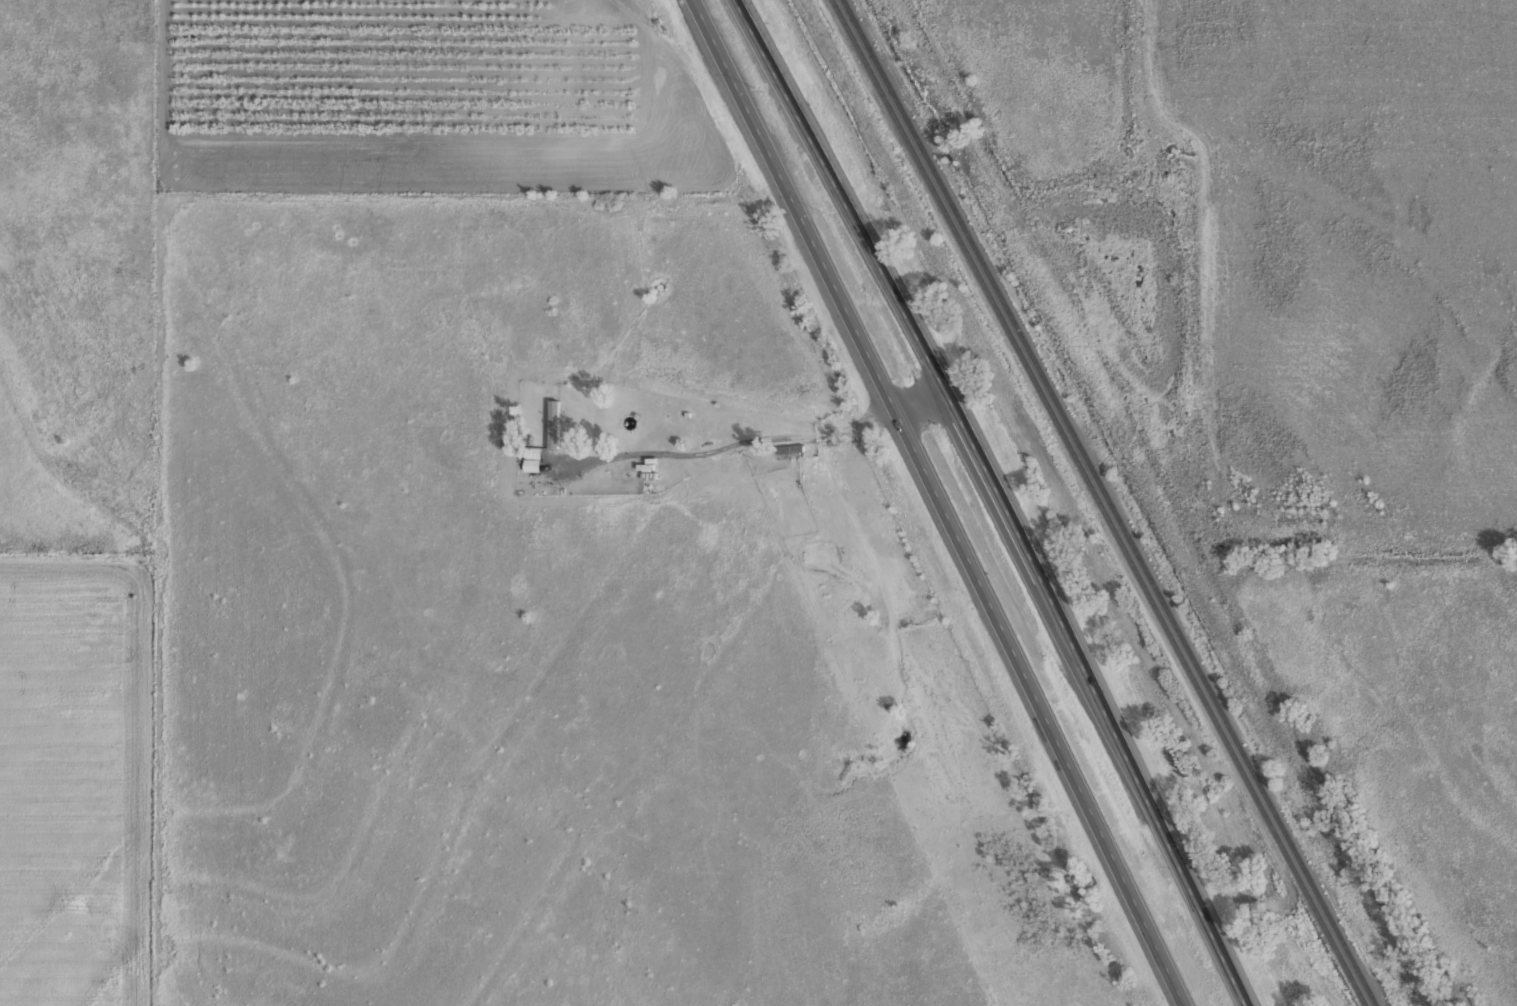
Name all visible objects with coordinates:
building: (553, 422)
building: (532, 457)
road: (1011, 496)
railway: (1096, 501)
road: (942, 502)
railway: (1112, 502)

